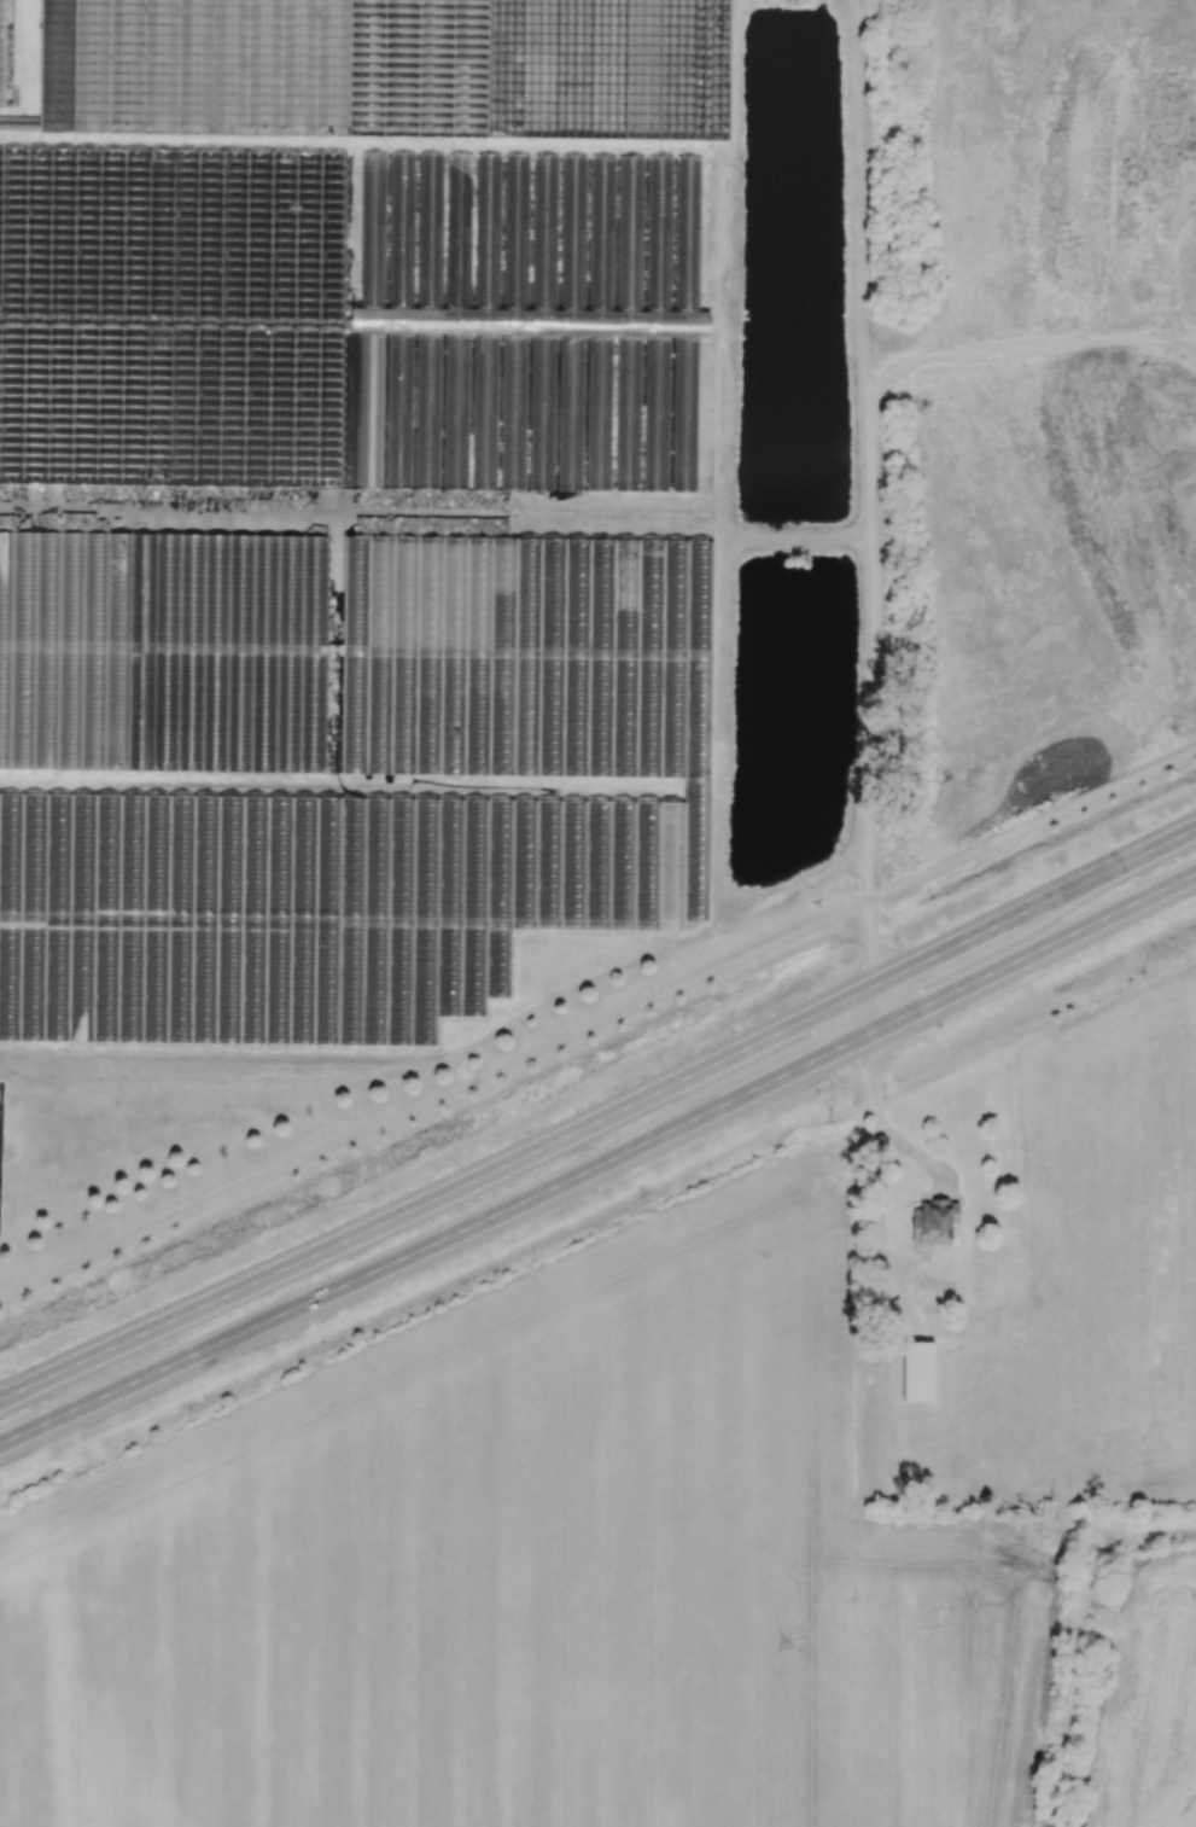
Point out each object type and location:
building: (186, 71)
building: (576, 174)
building: (603, 174)
building: (631, 176)
building: (403, 209)
building: (658, 417)
building: (56, 652)
road: (1027, 830)
road: (875, 945)
building: (37, 949)
road: (1025, 959)
road: (671, 995)
road: (899, 1000)
road: (846, 1024)
road: (600, 1122)
road: (921, 1157)
road: (241, 1192)
road: (877, 1192)
building: (933, 1224)
road: (427, 1247)
building: (918, 1372)
road: (1194, 1532)
crop: (1147, 1704)

